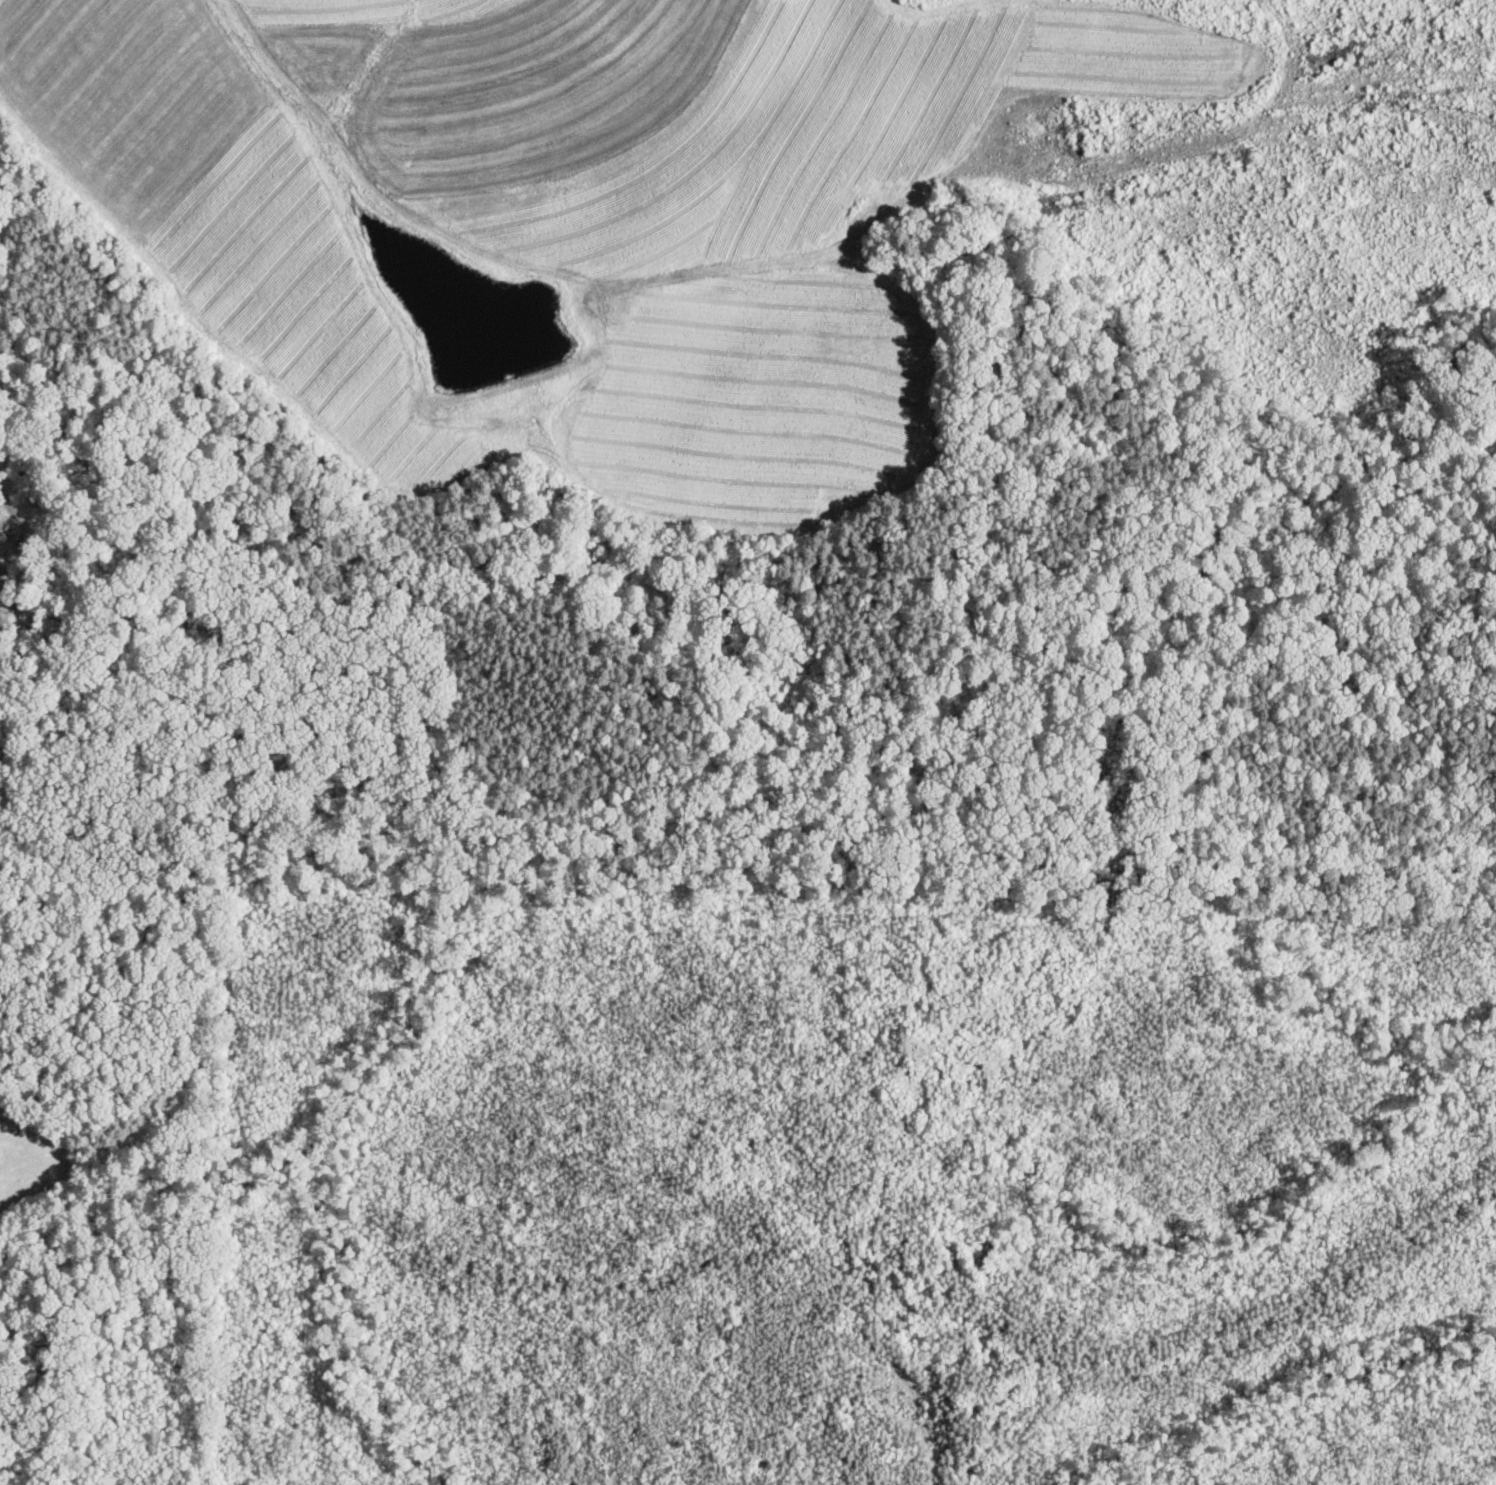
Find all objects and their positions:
building: (2, 526)
building: (0, 575)

